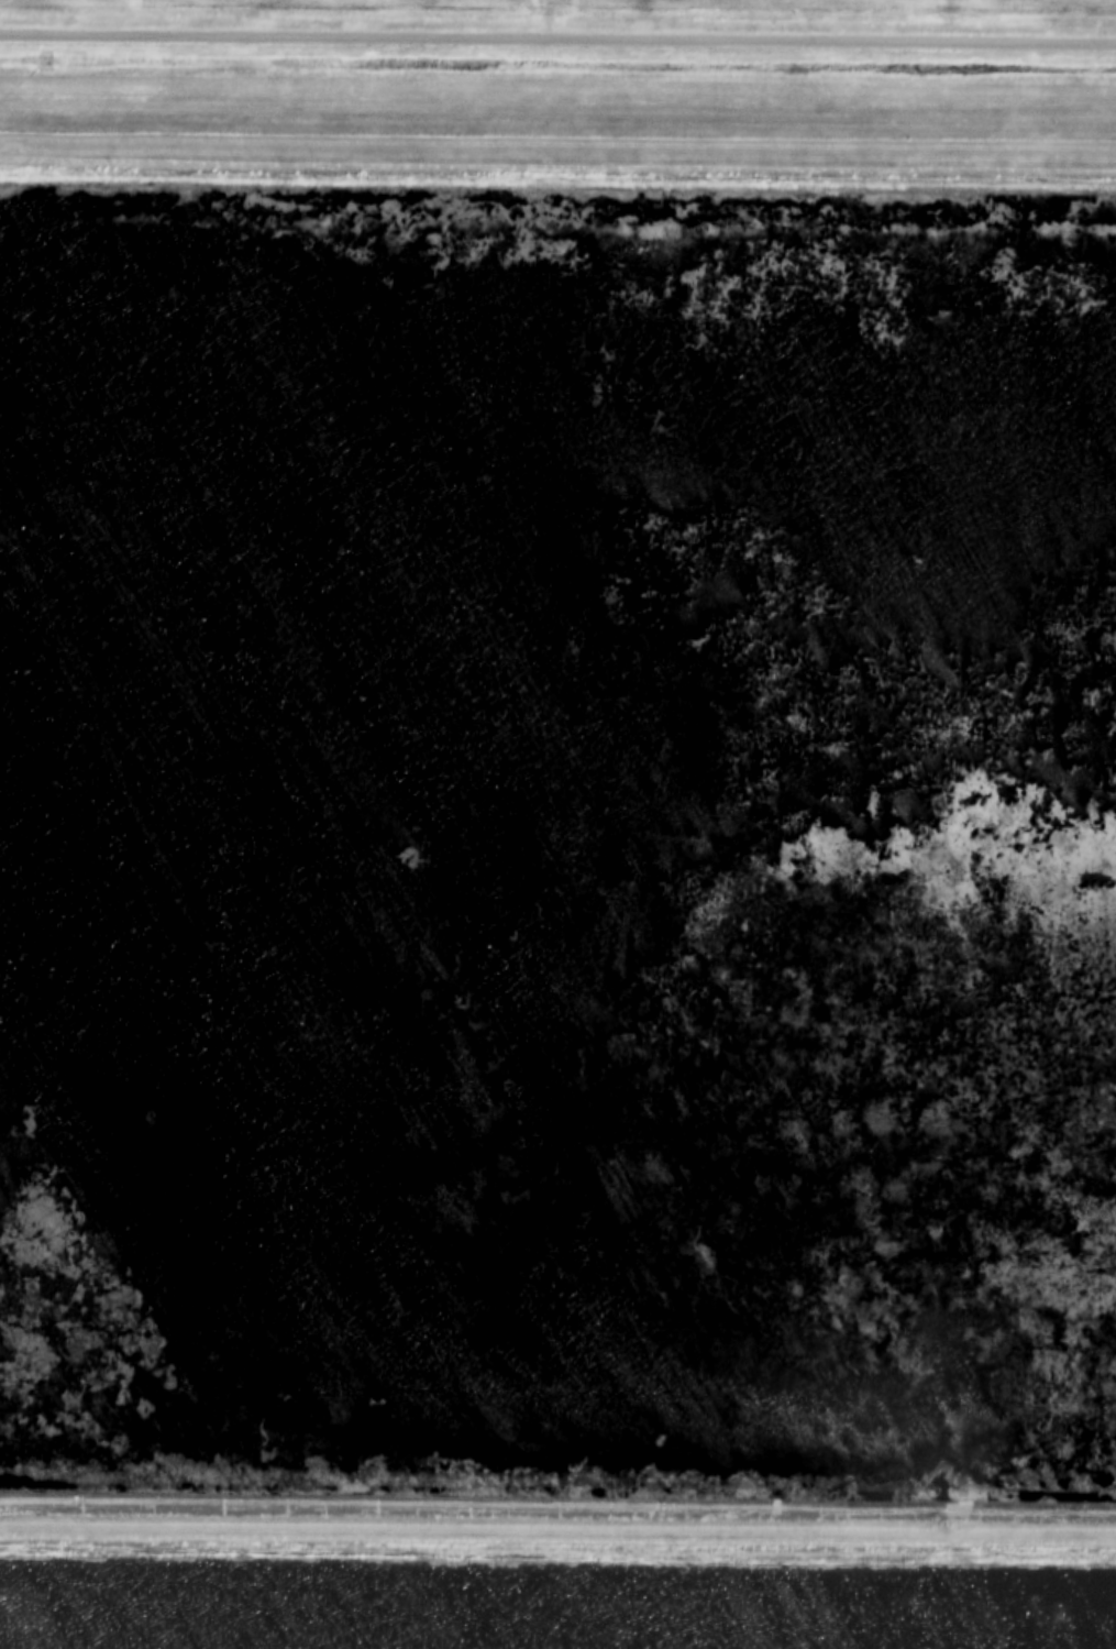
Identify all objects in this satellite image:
crop: (599, 6)
road: (557, 41)
wastewater plant: (557, 892)

